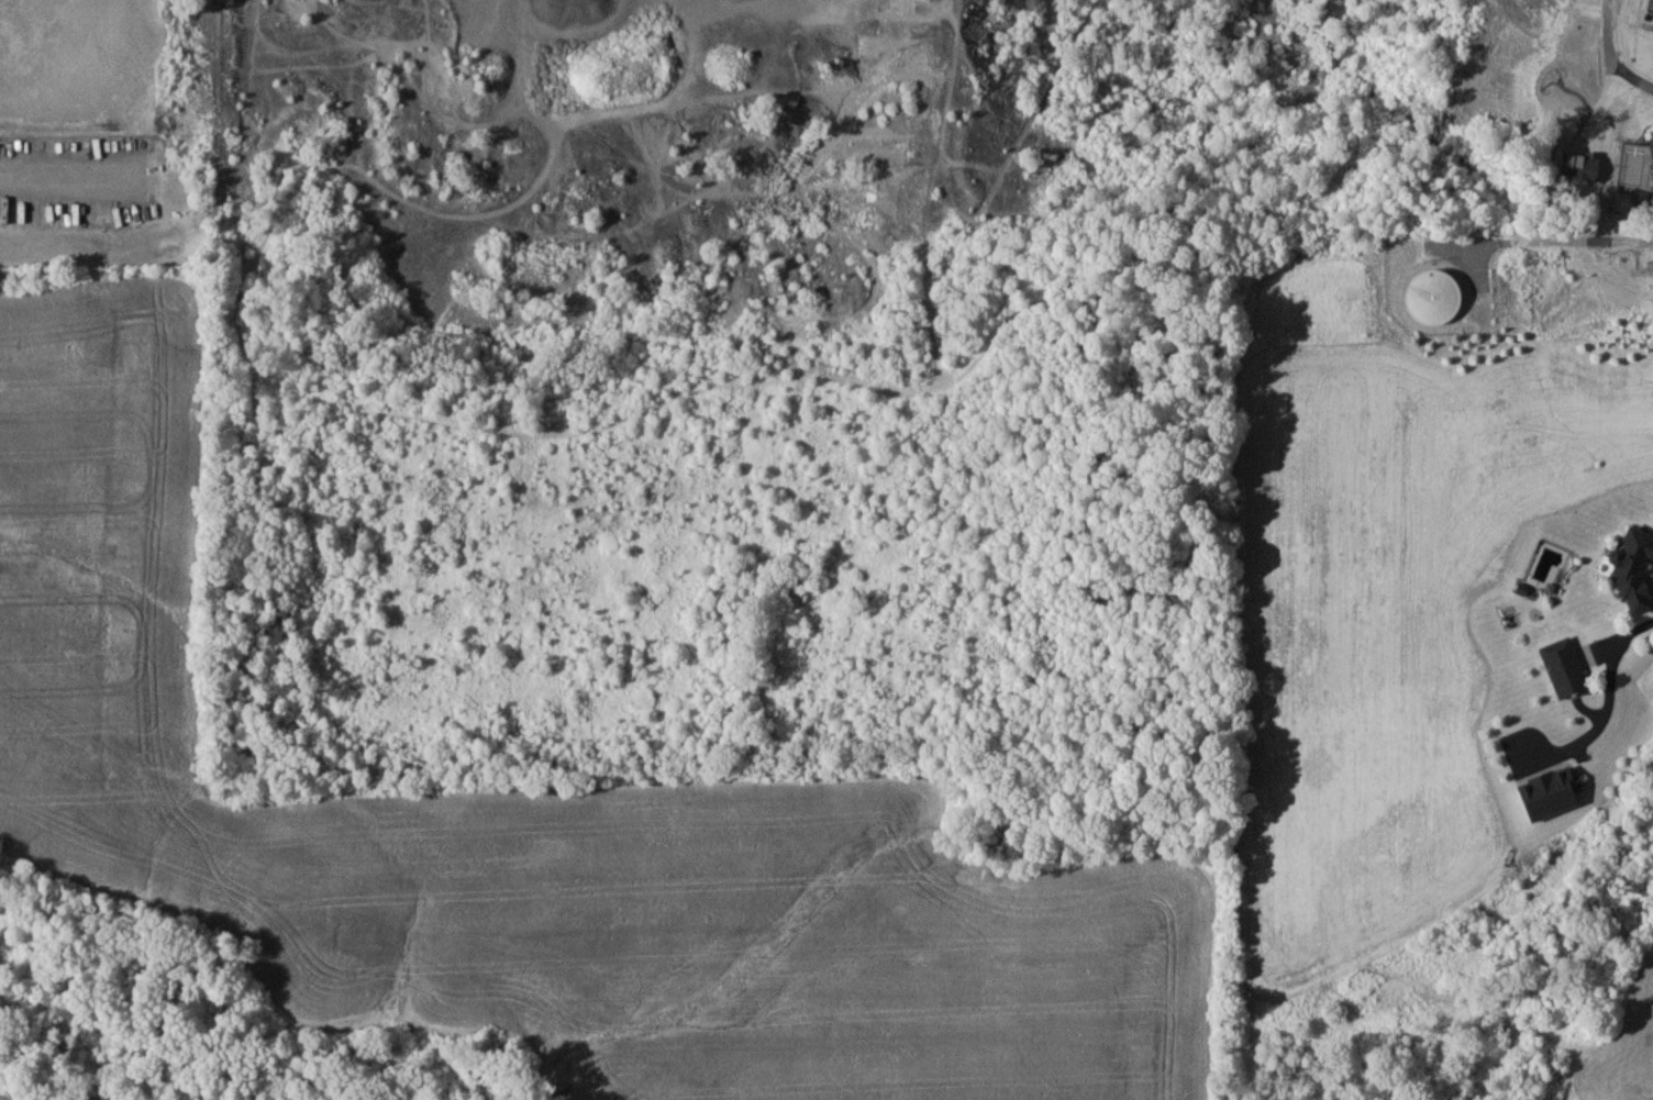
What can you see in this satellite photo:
building: (1651, 8)
road: (1610, 47)
road: (74, 177)
building: (1430, 297)
building: (1630, 569)
building: (1562, 668)
road: (1609, 699)
building: (1546, 795)

